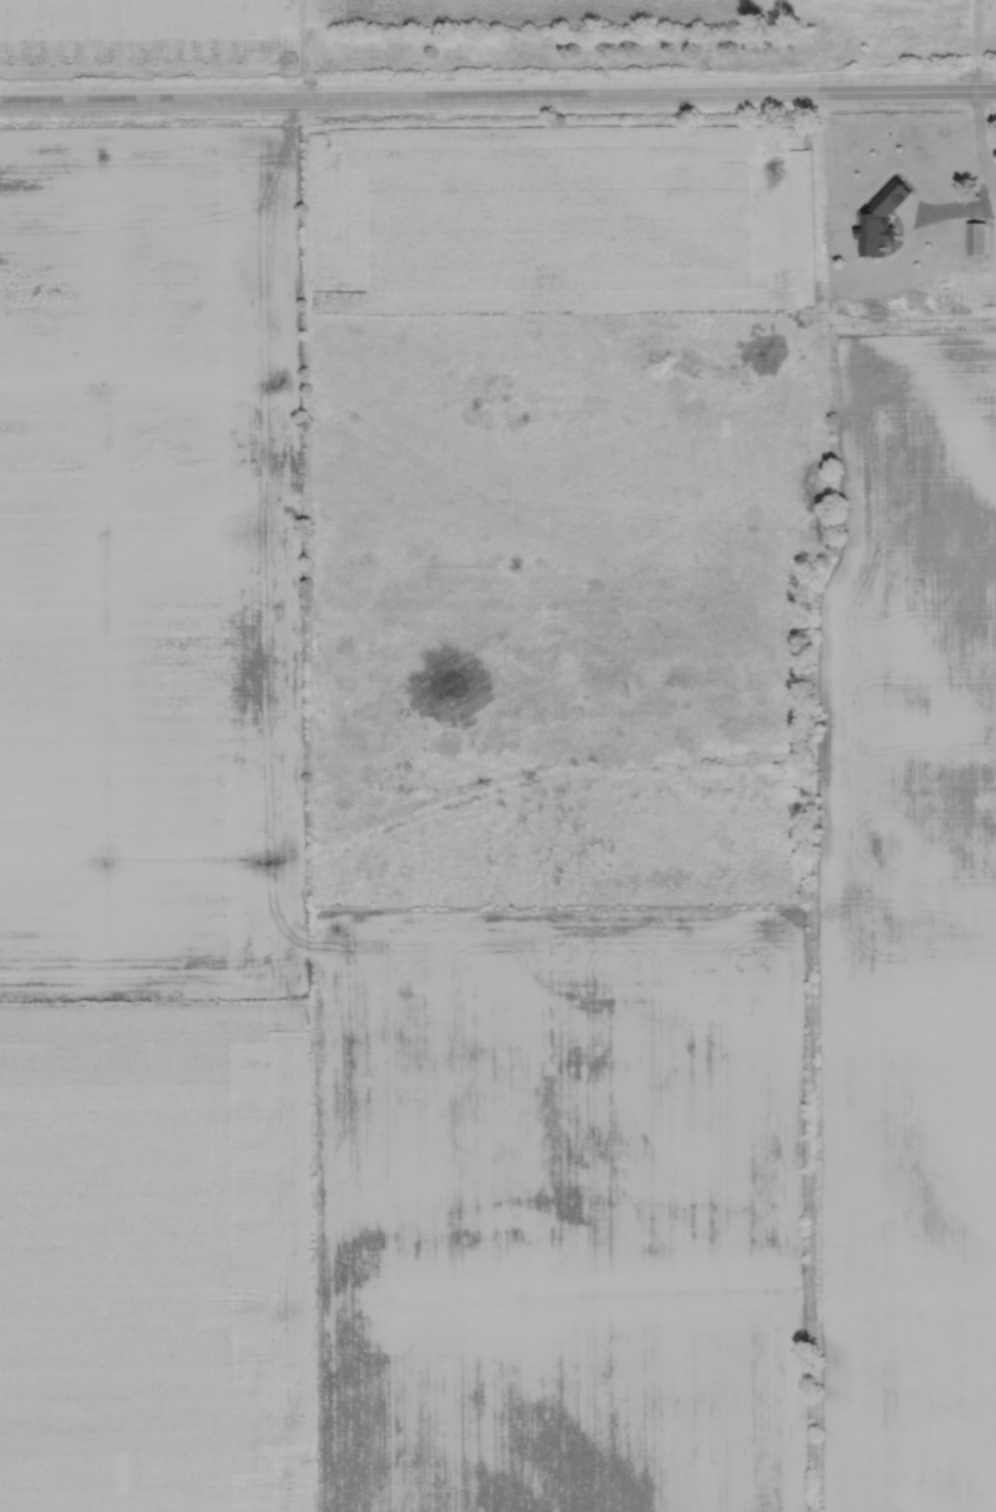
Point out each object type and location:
crop: (273, 25)
road: (498, 95)
road: (981, 144)
road: (994, 184)
building: (957, 206)
building: (882, 219)
building: (978, 239)
road: (941, 260)
crop: (152, 567)
crop: (903, 941)
crop: (556, 1208)
crop: (154, 1227)
crop: (156, 1481)

